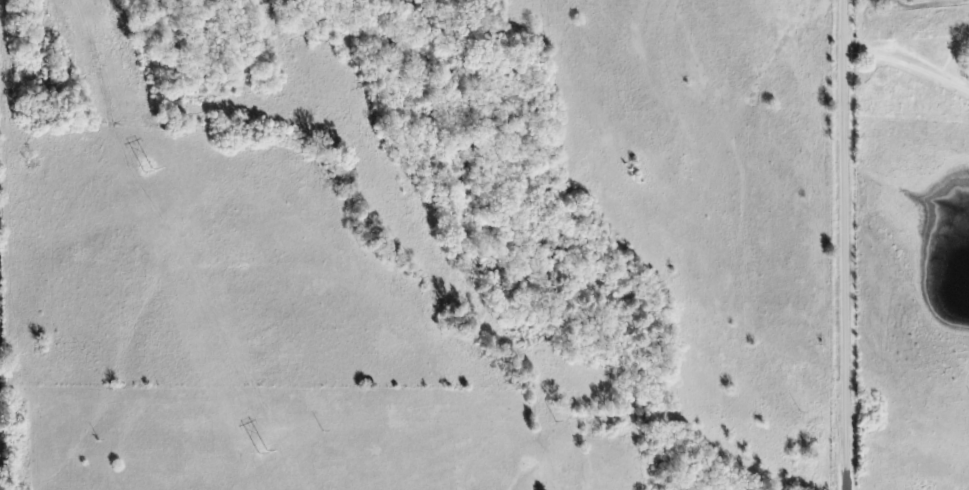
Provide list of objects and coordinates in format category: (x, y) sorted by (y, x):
road: (908, 52)
power tower: (146, 172)
road: (849, 244)
power tower: (262, 451)

